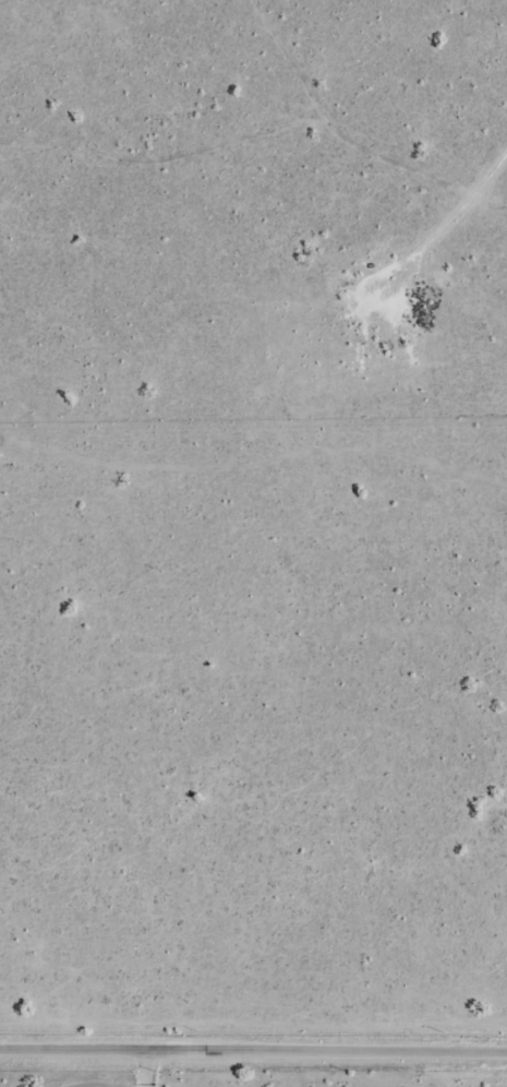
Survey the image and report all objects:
road: (253, 1067)

